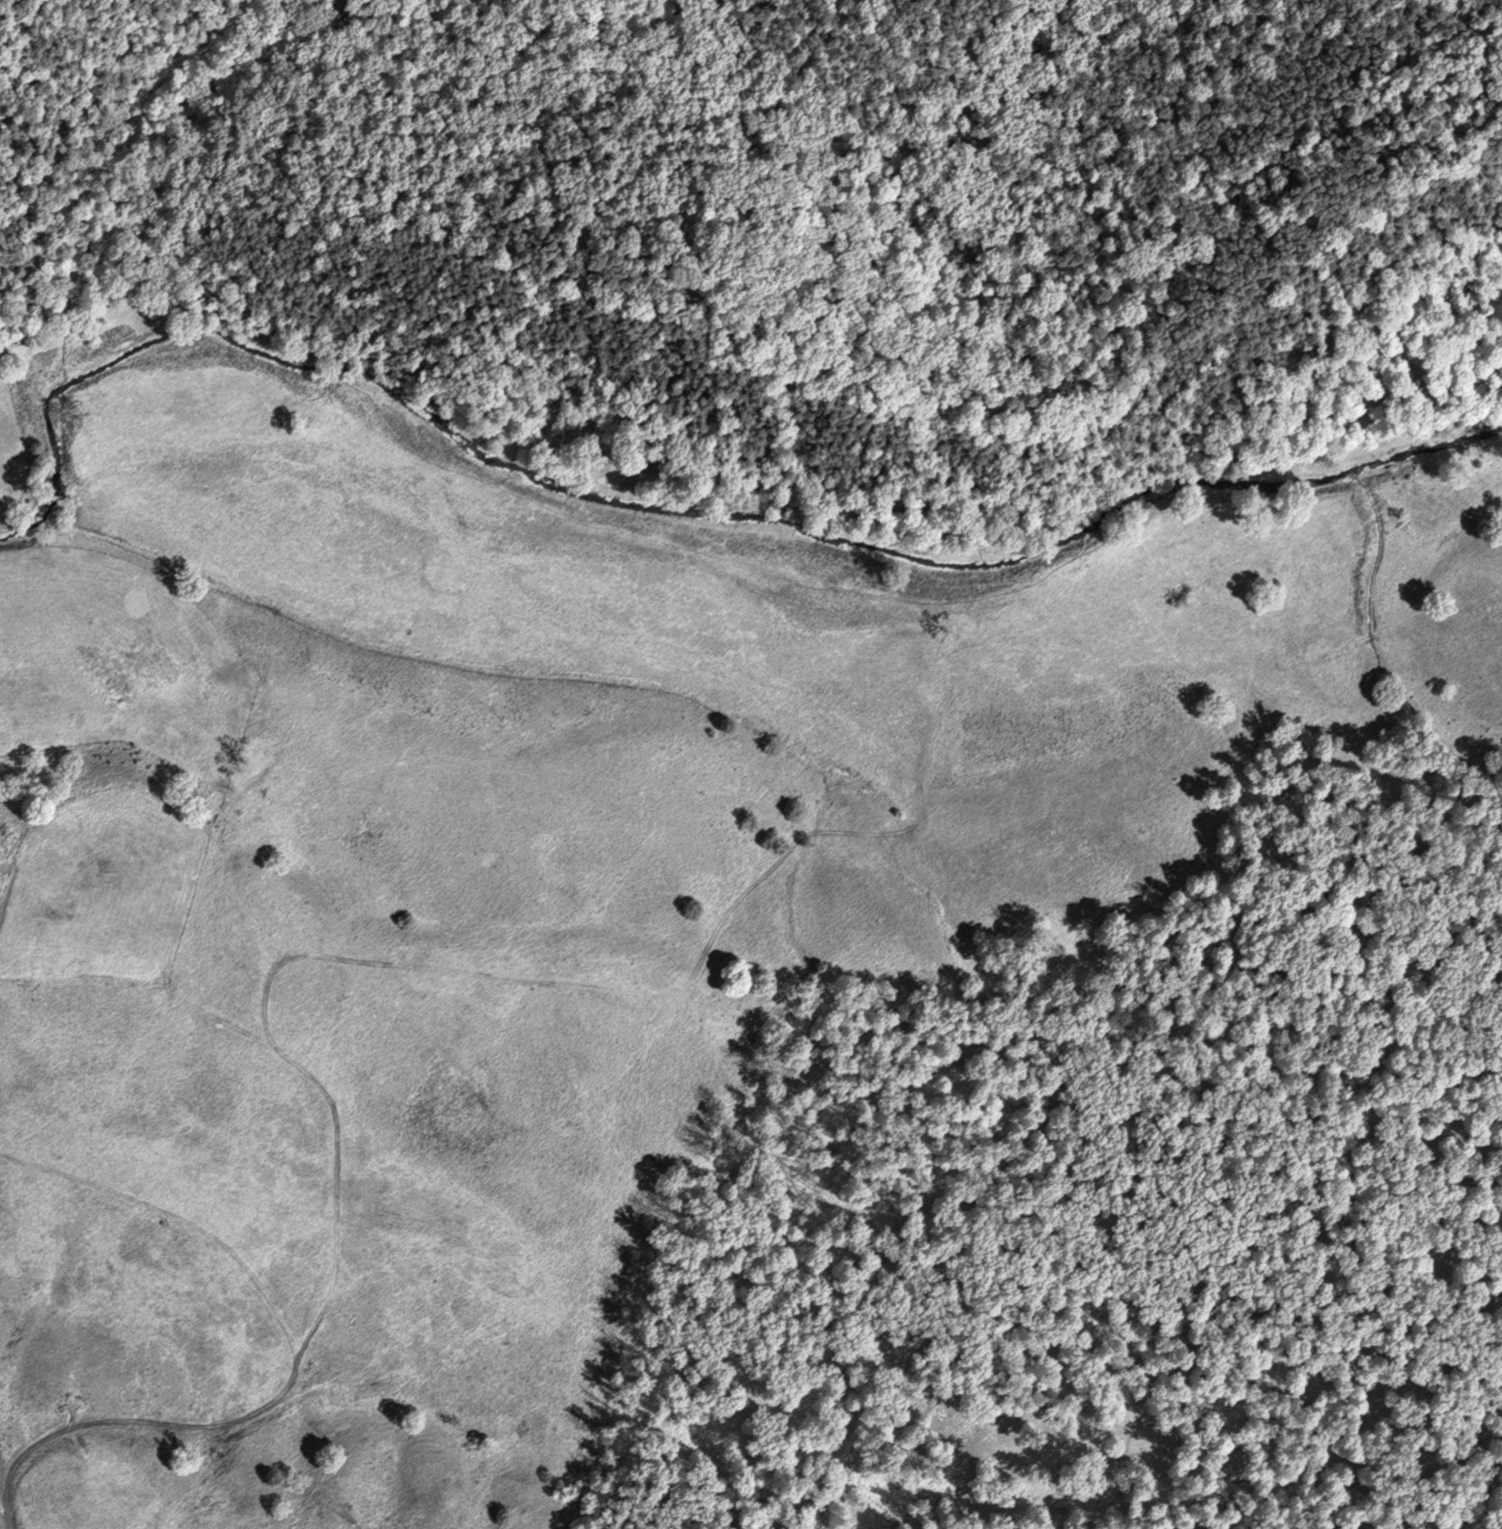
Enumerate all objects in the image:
road: (599, 990)

